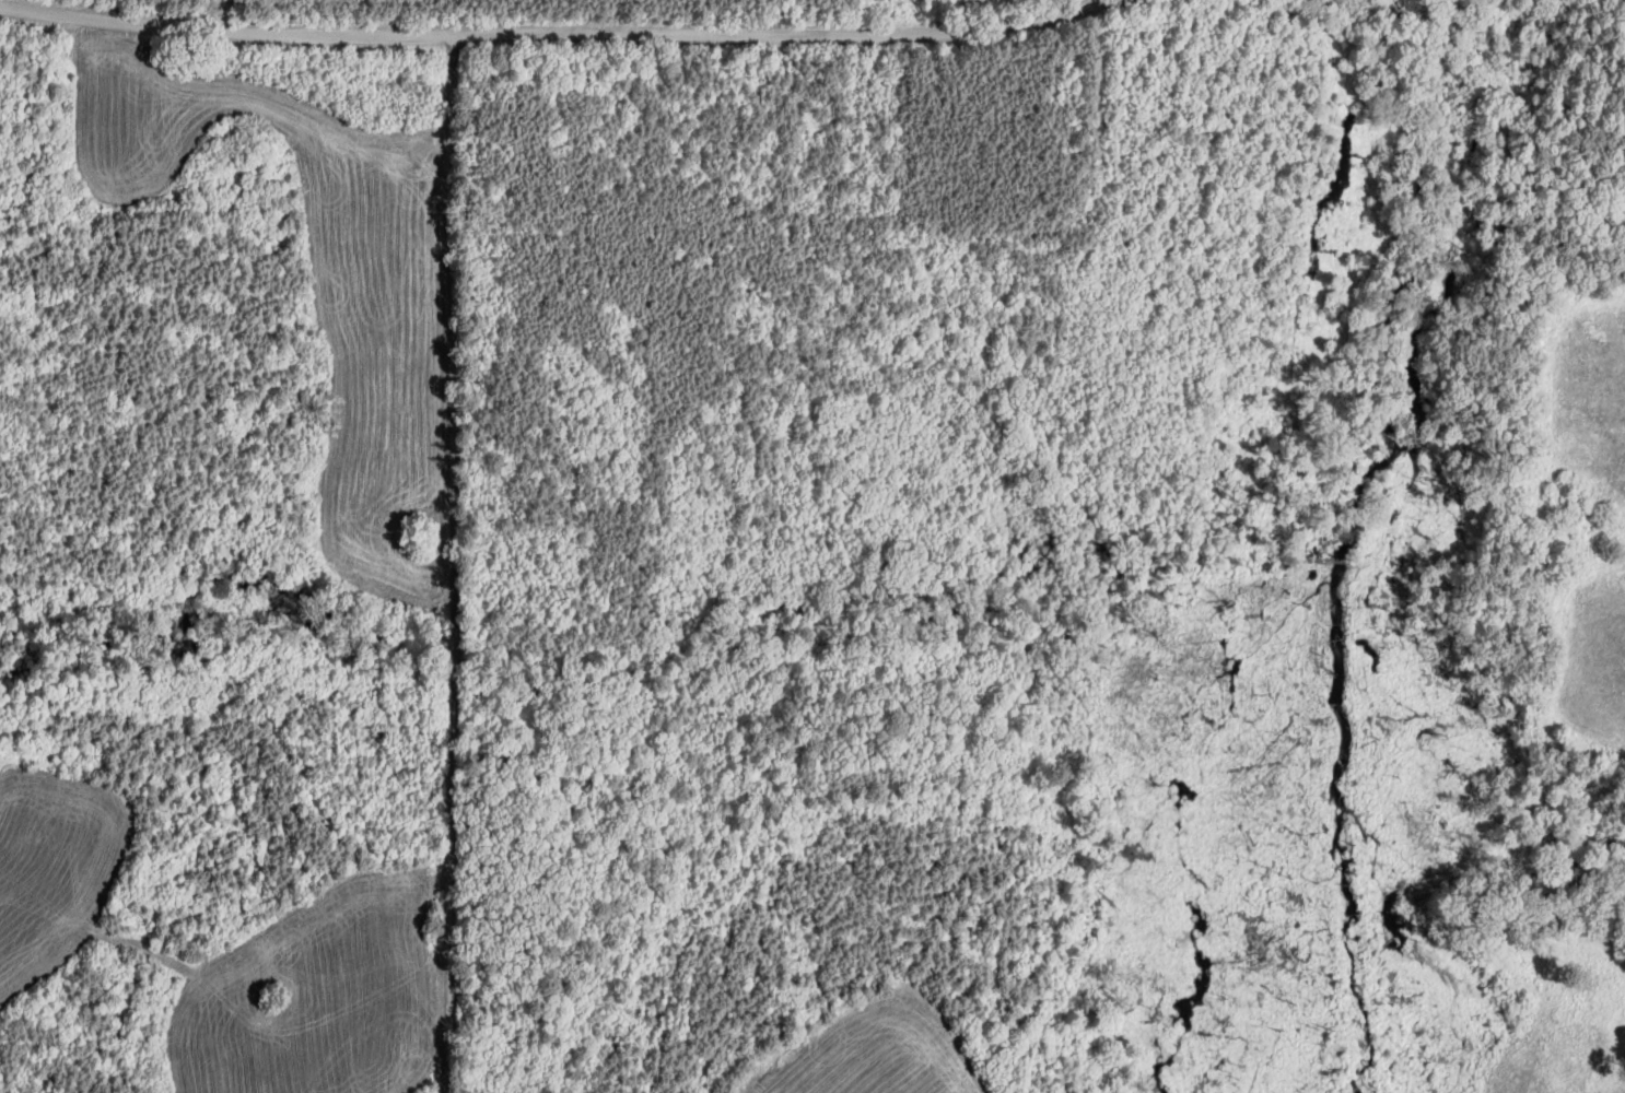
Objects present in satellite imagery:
road: (569, 37)

